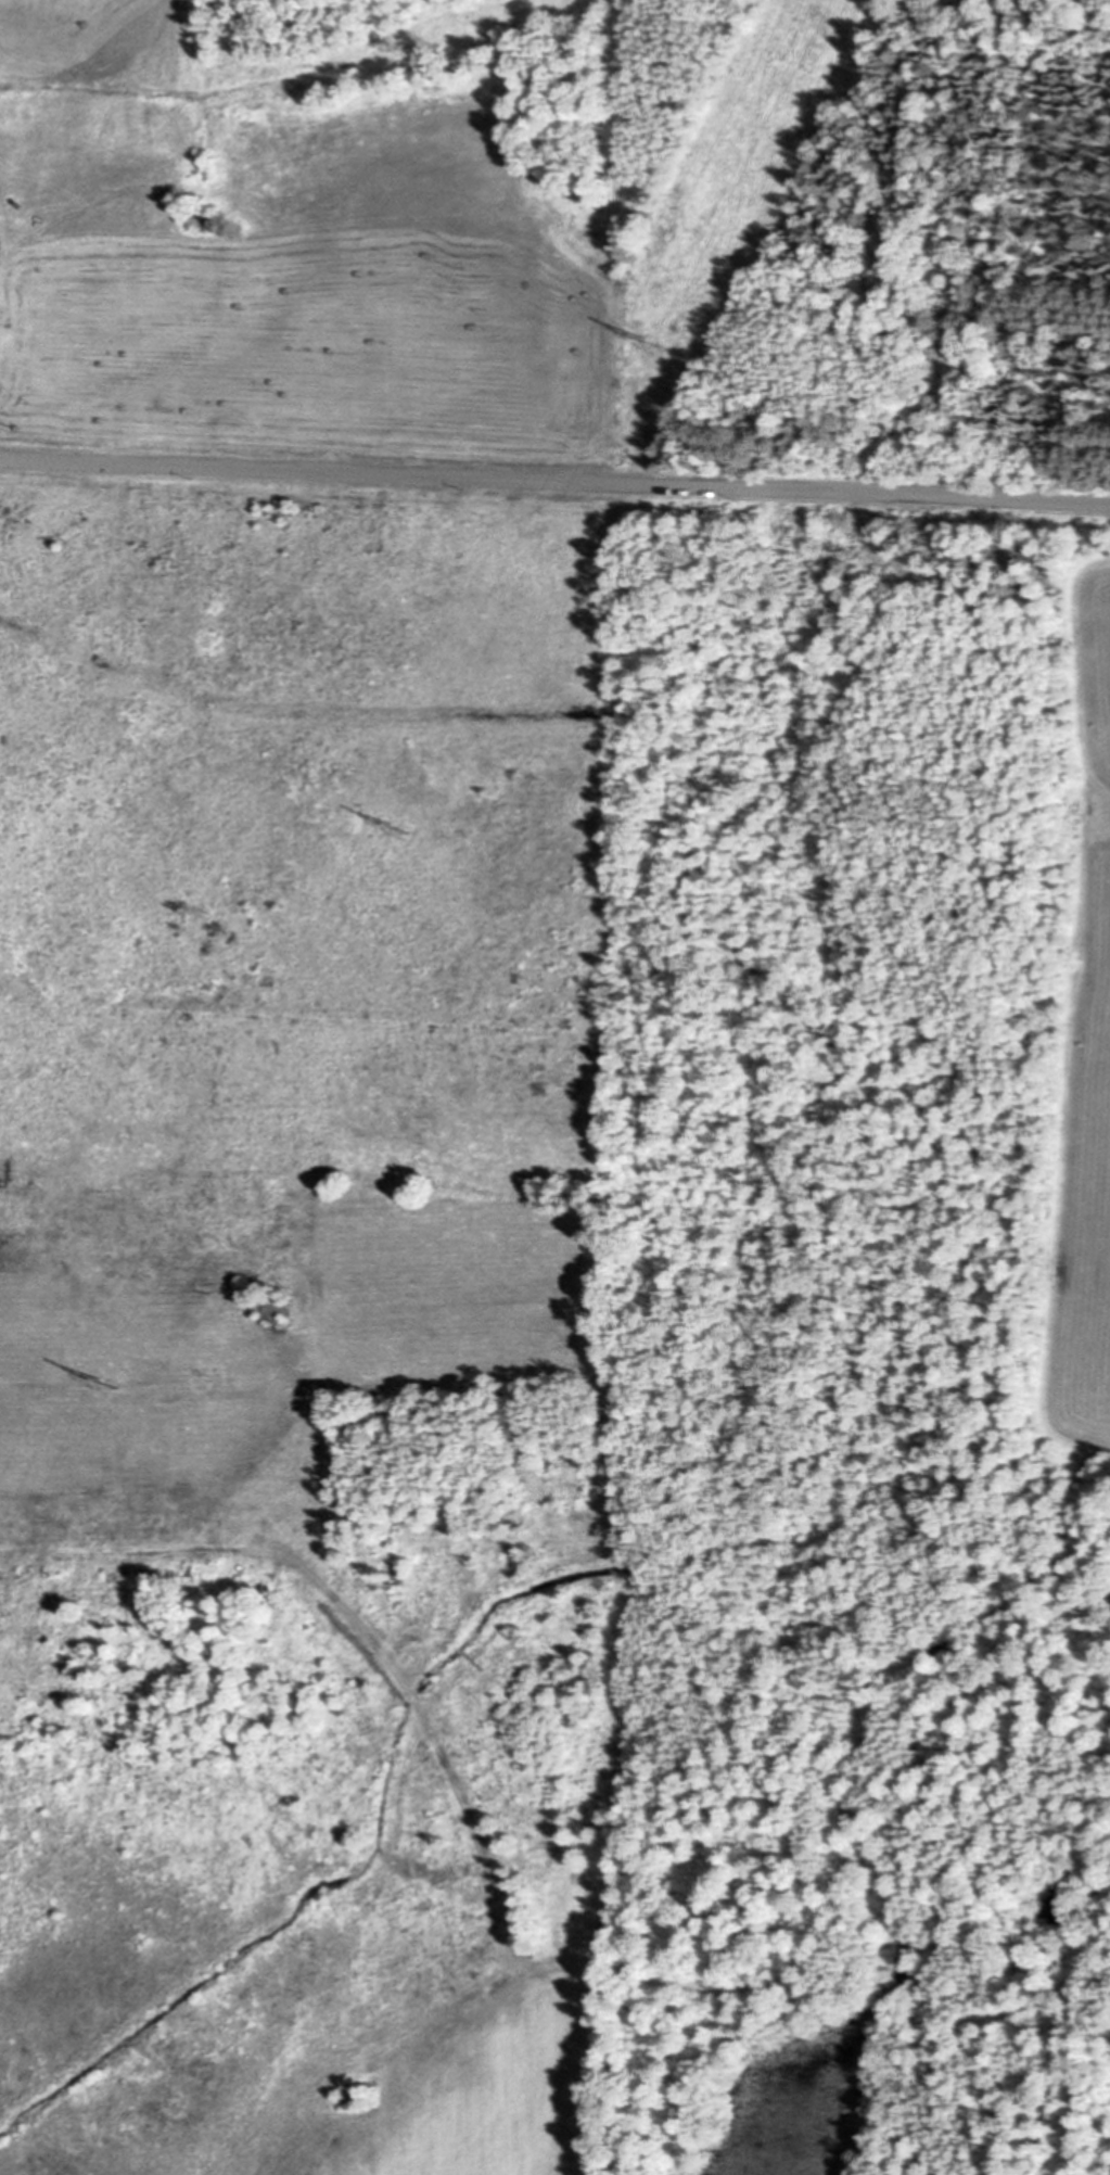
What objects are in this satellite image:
road: (554, 476)
crop: (298, 1322)

